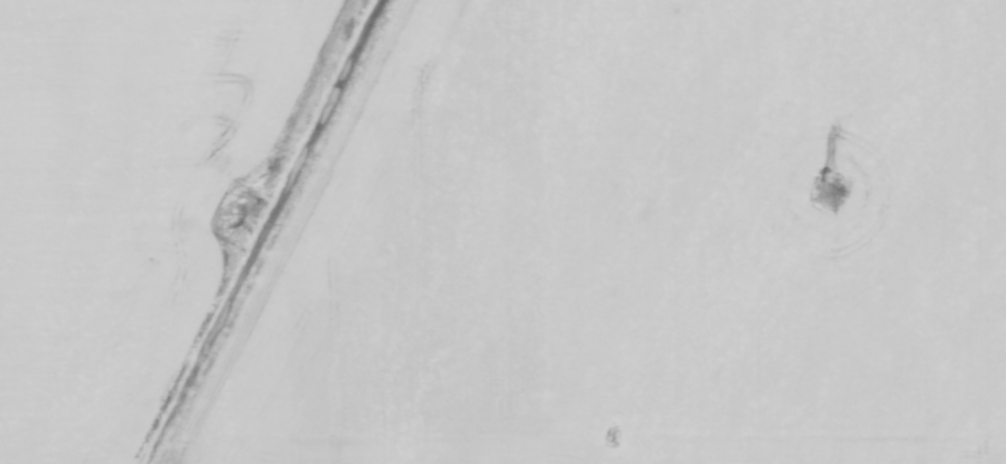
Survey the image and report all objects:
power tower: (826, 191)

